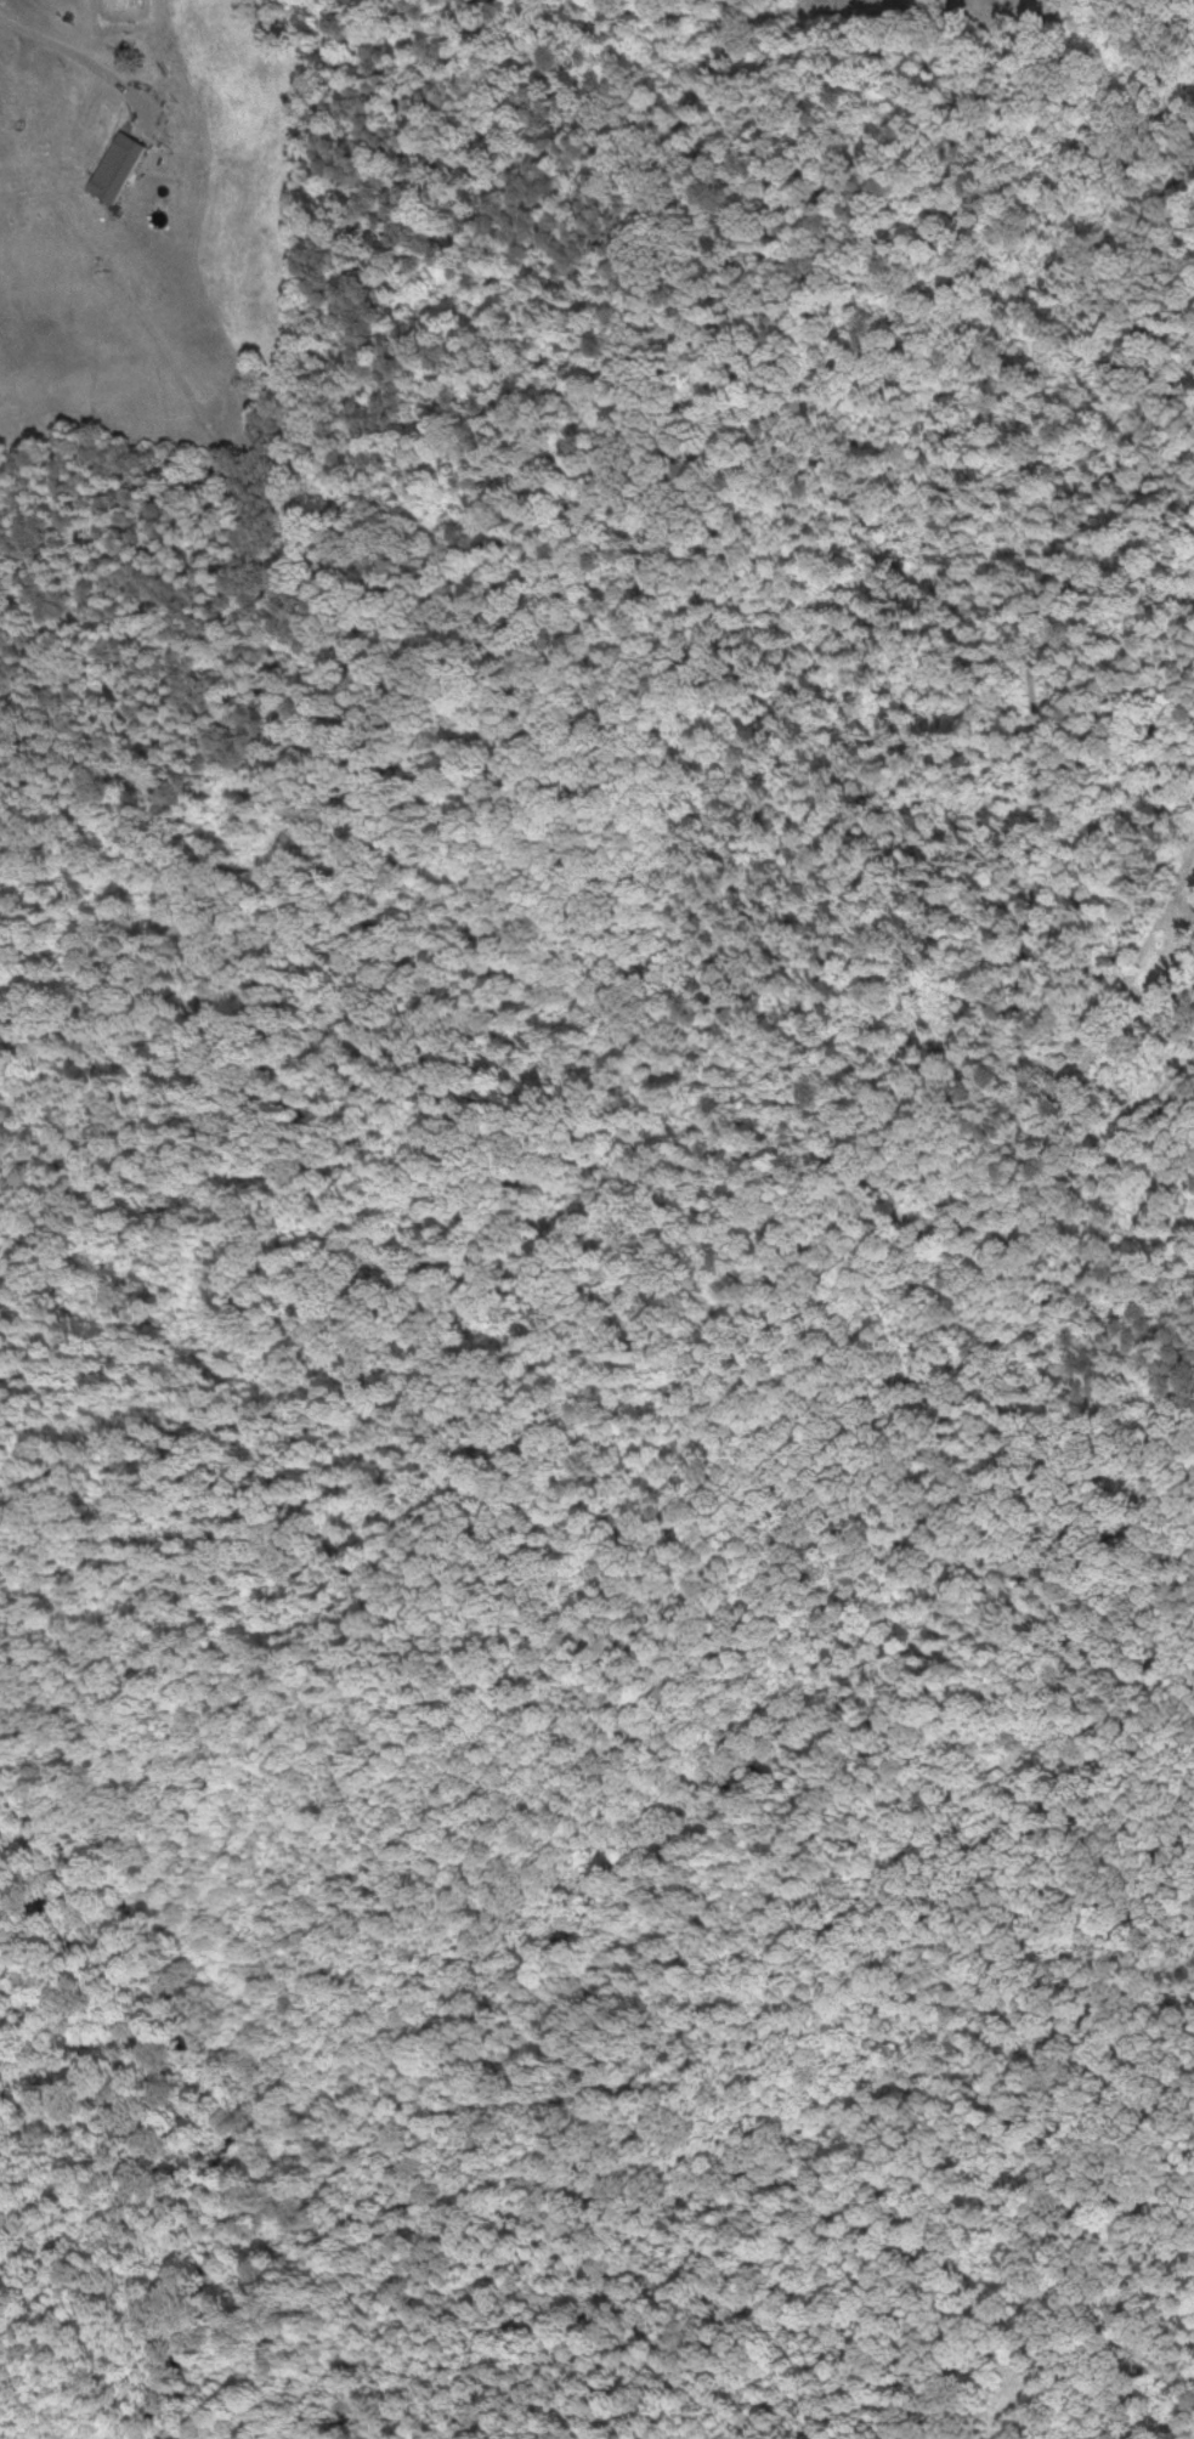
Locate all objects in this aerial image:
road: (81, 57)
building: (125, 165)

